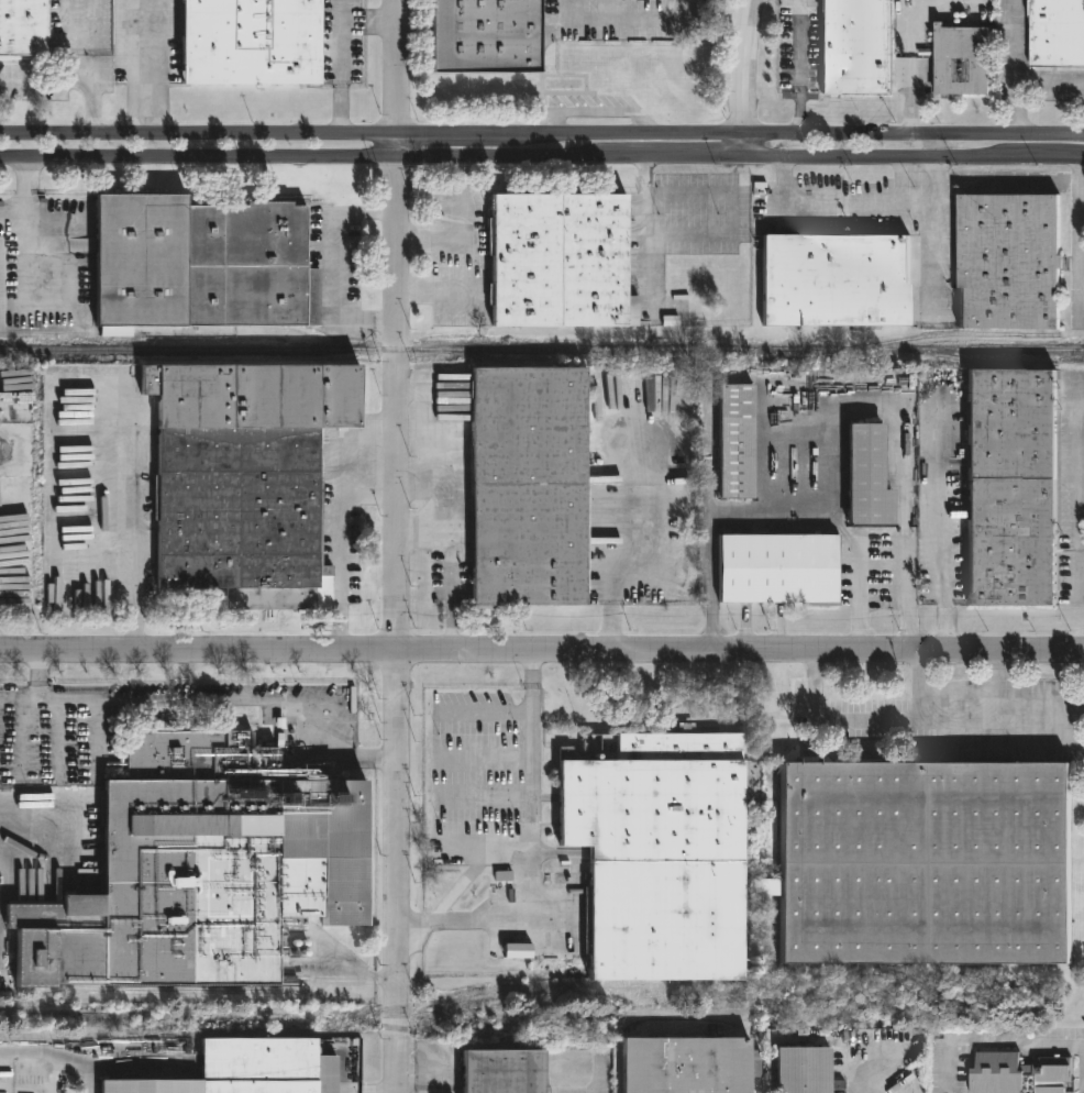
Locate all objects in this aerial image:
road: (624, 20)
building: (25, 29)
building: (1058, 33)
building: (493, 37)
building: (257, 43)
building: (856, 47)
road: (341, 49)
building: (963, 60)
road: (79, 68)
road: (146, 68)
road: (799, 68)
road: (1015, 68)
road: (745, 77)
road: (41, 78)
road: (1049, 87)
road: (908, 101)
road: (542, 136)
road: (542, 158)
road: (25, 196)
road: (844, 210)
road: (645, 222)
road: (934, 230)
road: (463, 236)
building: (568, 260)
building: (1008, 261)
building: (208, 263)
road: (341, 266)
building: (829, 278)
road: (435, 292)
railway: (951, 333)
railway: (542, 349)
railway: (975, 360)
railway: (504, 362)
building: (731, 441)
road: (899, 444)
building: (253, 472)
building: (863, 476)
road: (1076, 479)
building: (537, 486)
building: (1013, 486)
road: (645, 489)
building: (15, 514)
road: (134, 517)
road: (944, 519)
road: (450, 540)
road: (395, 545)
road: (710, 549)
road: (342, 550)
road: (860, 554)
building: (778, 567)
road: (541, 650)
road: (37, 670)
road: (226, 700)
road: (521, 715)
road: (992, 715)
road: (869, 719)
road: (488, 761)
road: (490, 801)
road: (34, 819)
road: (490, 848)
building: (810, 859)
building: (211, 869)
road: (531, 883)
road: (463, 884)
building: (518, 950)
building: (0, 952)
railway: (143, 992)
railway: (395, 1008)
railway: (395, 1014)
railway: (57, 1015)
railway: (396, 1027)
railway: (190, 1031)
road: (1014, 1044)
building: (695, 1064)
road: (1080, 1067)
building: (248, 1070)
building: (512, 1070)
building: (806, 1071)
building: (1015, 1072)
road: (422, 1073)
road: (369, 1091)
road: (874, 1091)

